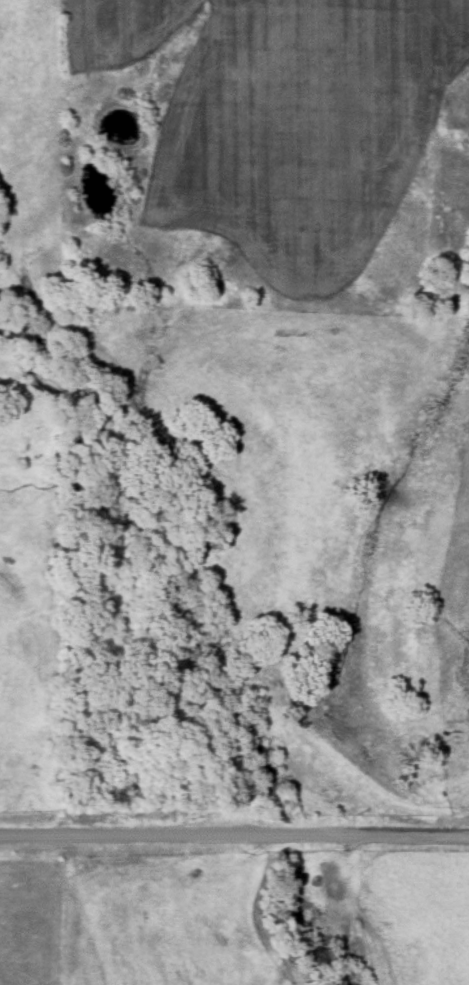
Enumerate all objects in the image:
road: (234, 835)

